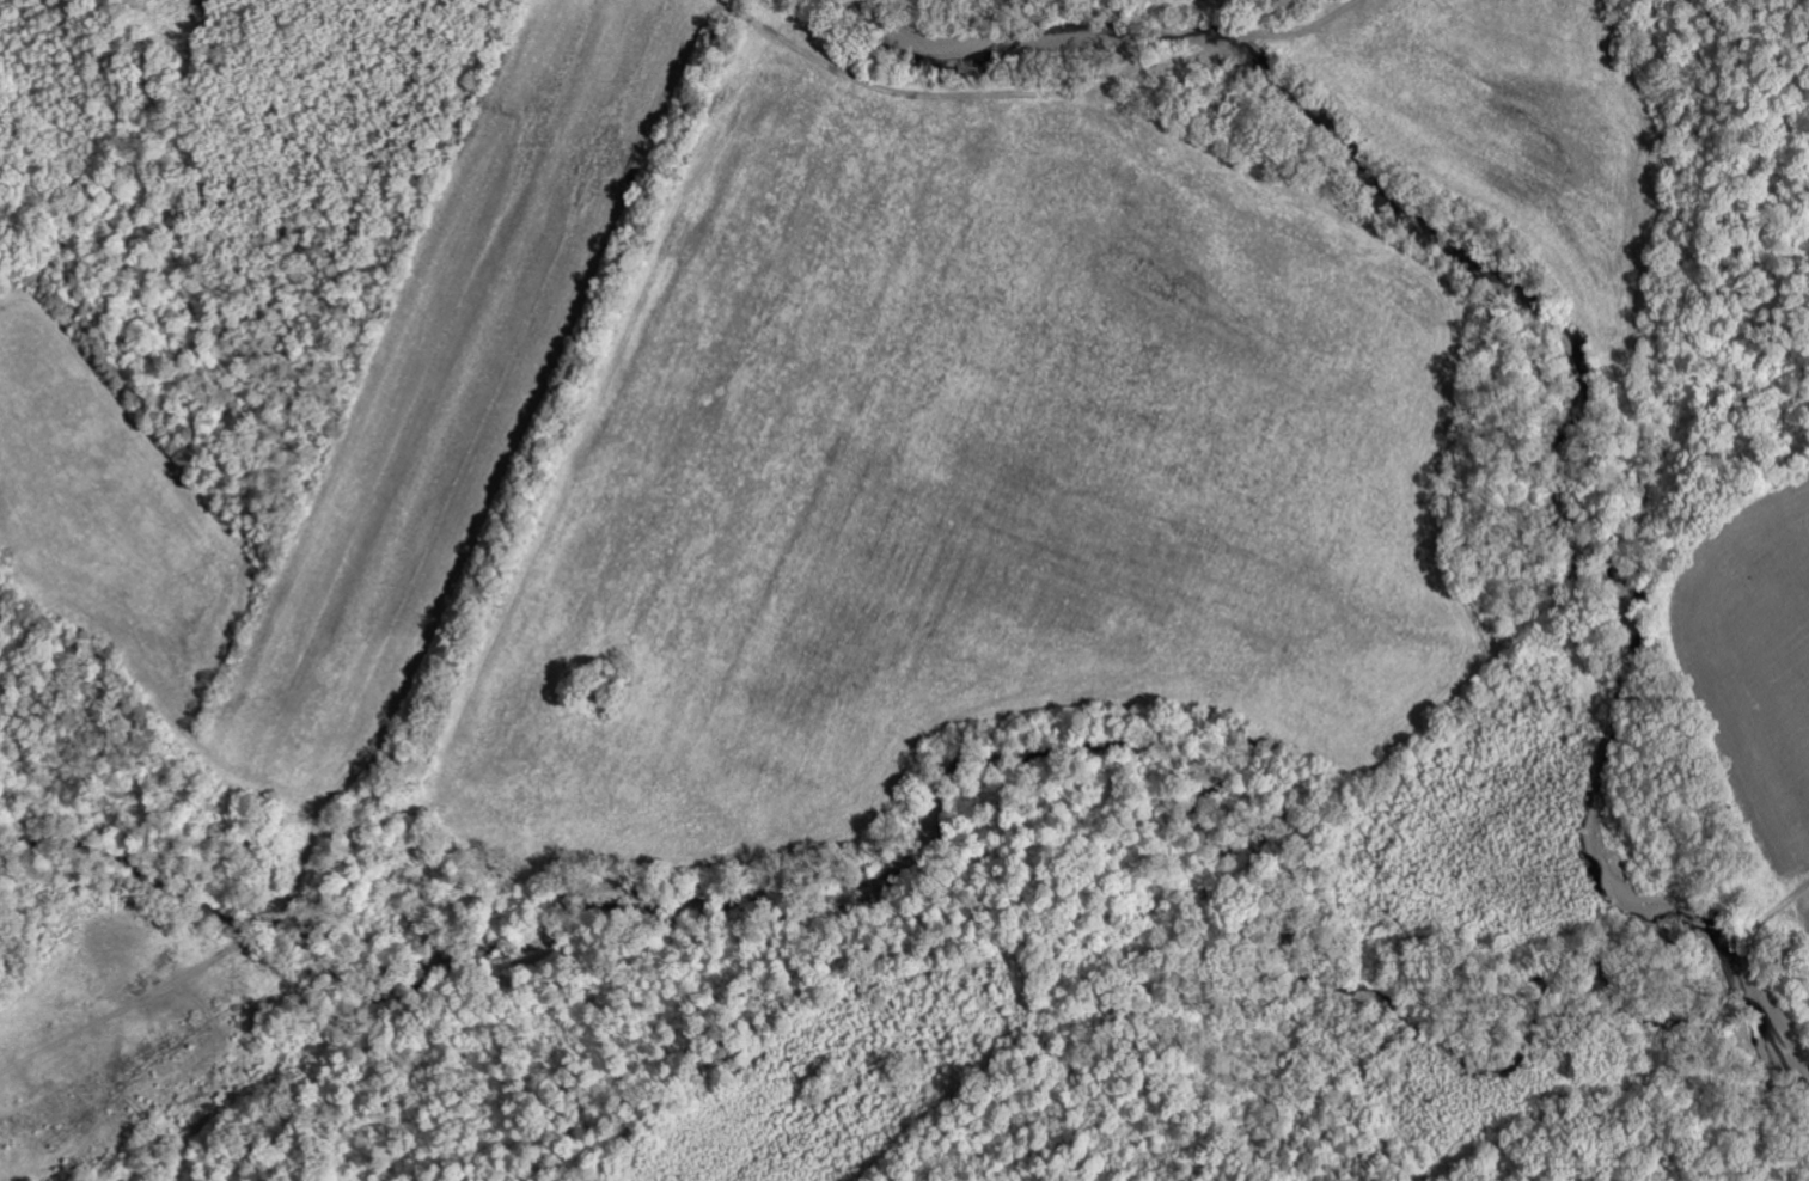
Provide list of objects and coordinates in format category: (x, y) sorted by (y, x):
road: (1789, 901)

